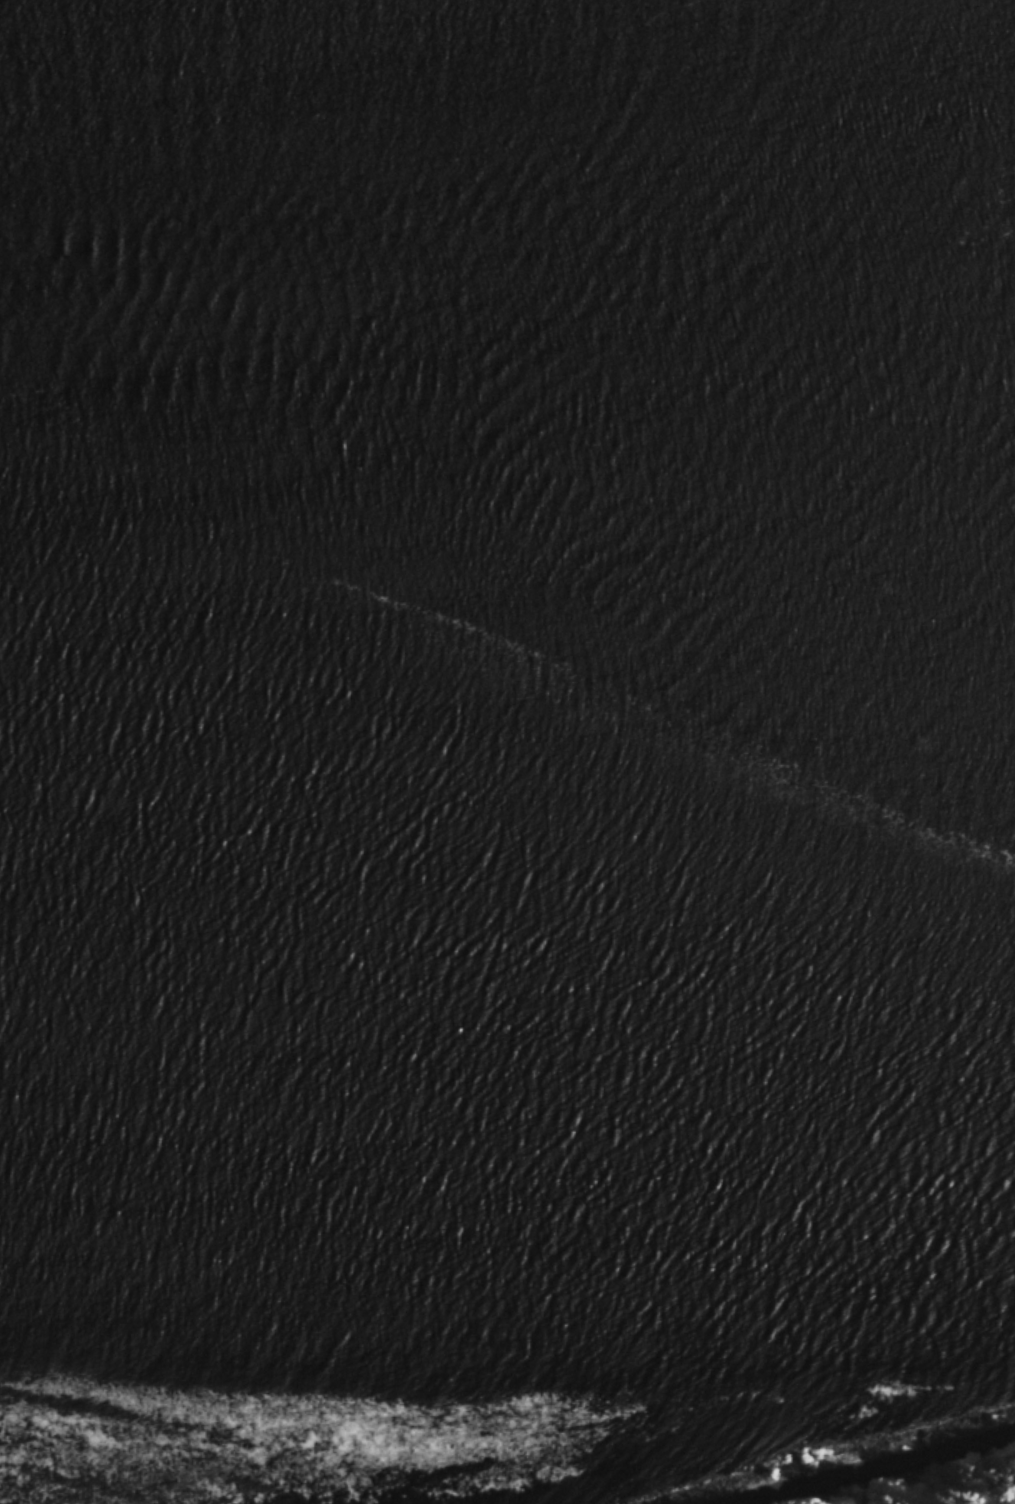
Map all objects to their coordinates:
railway: (887, 1471)

